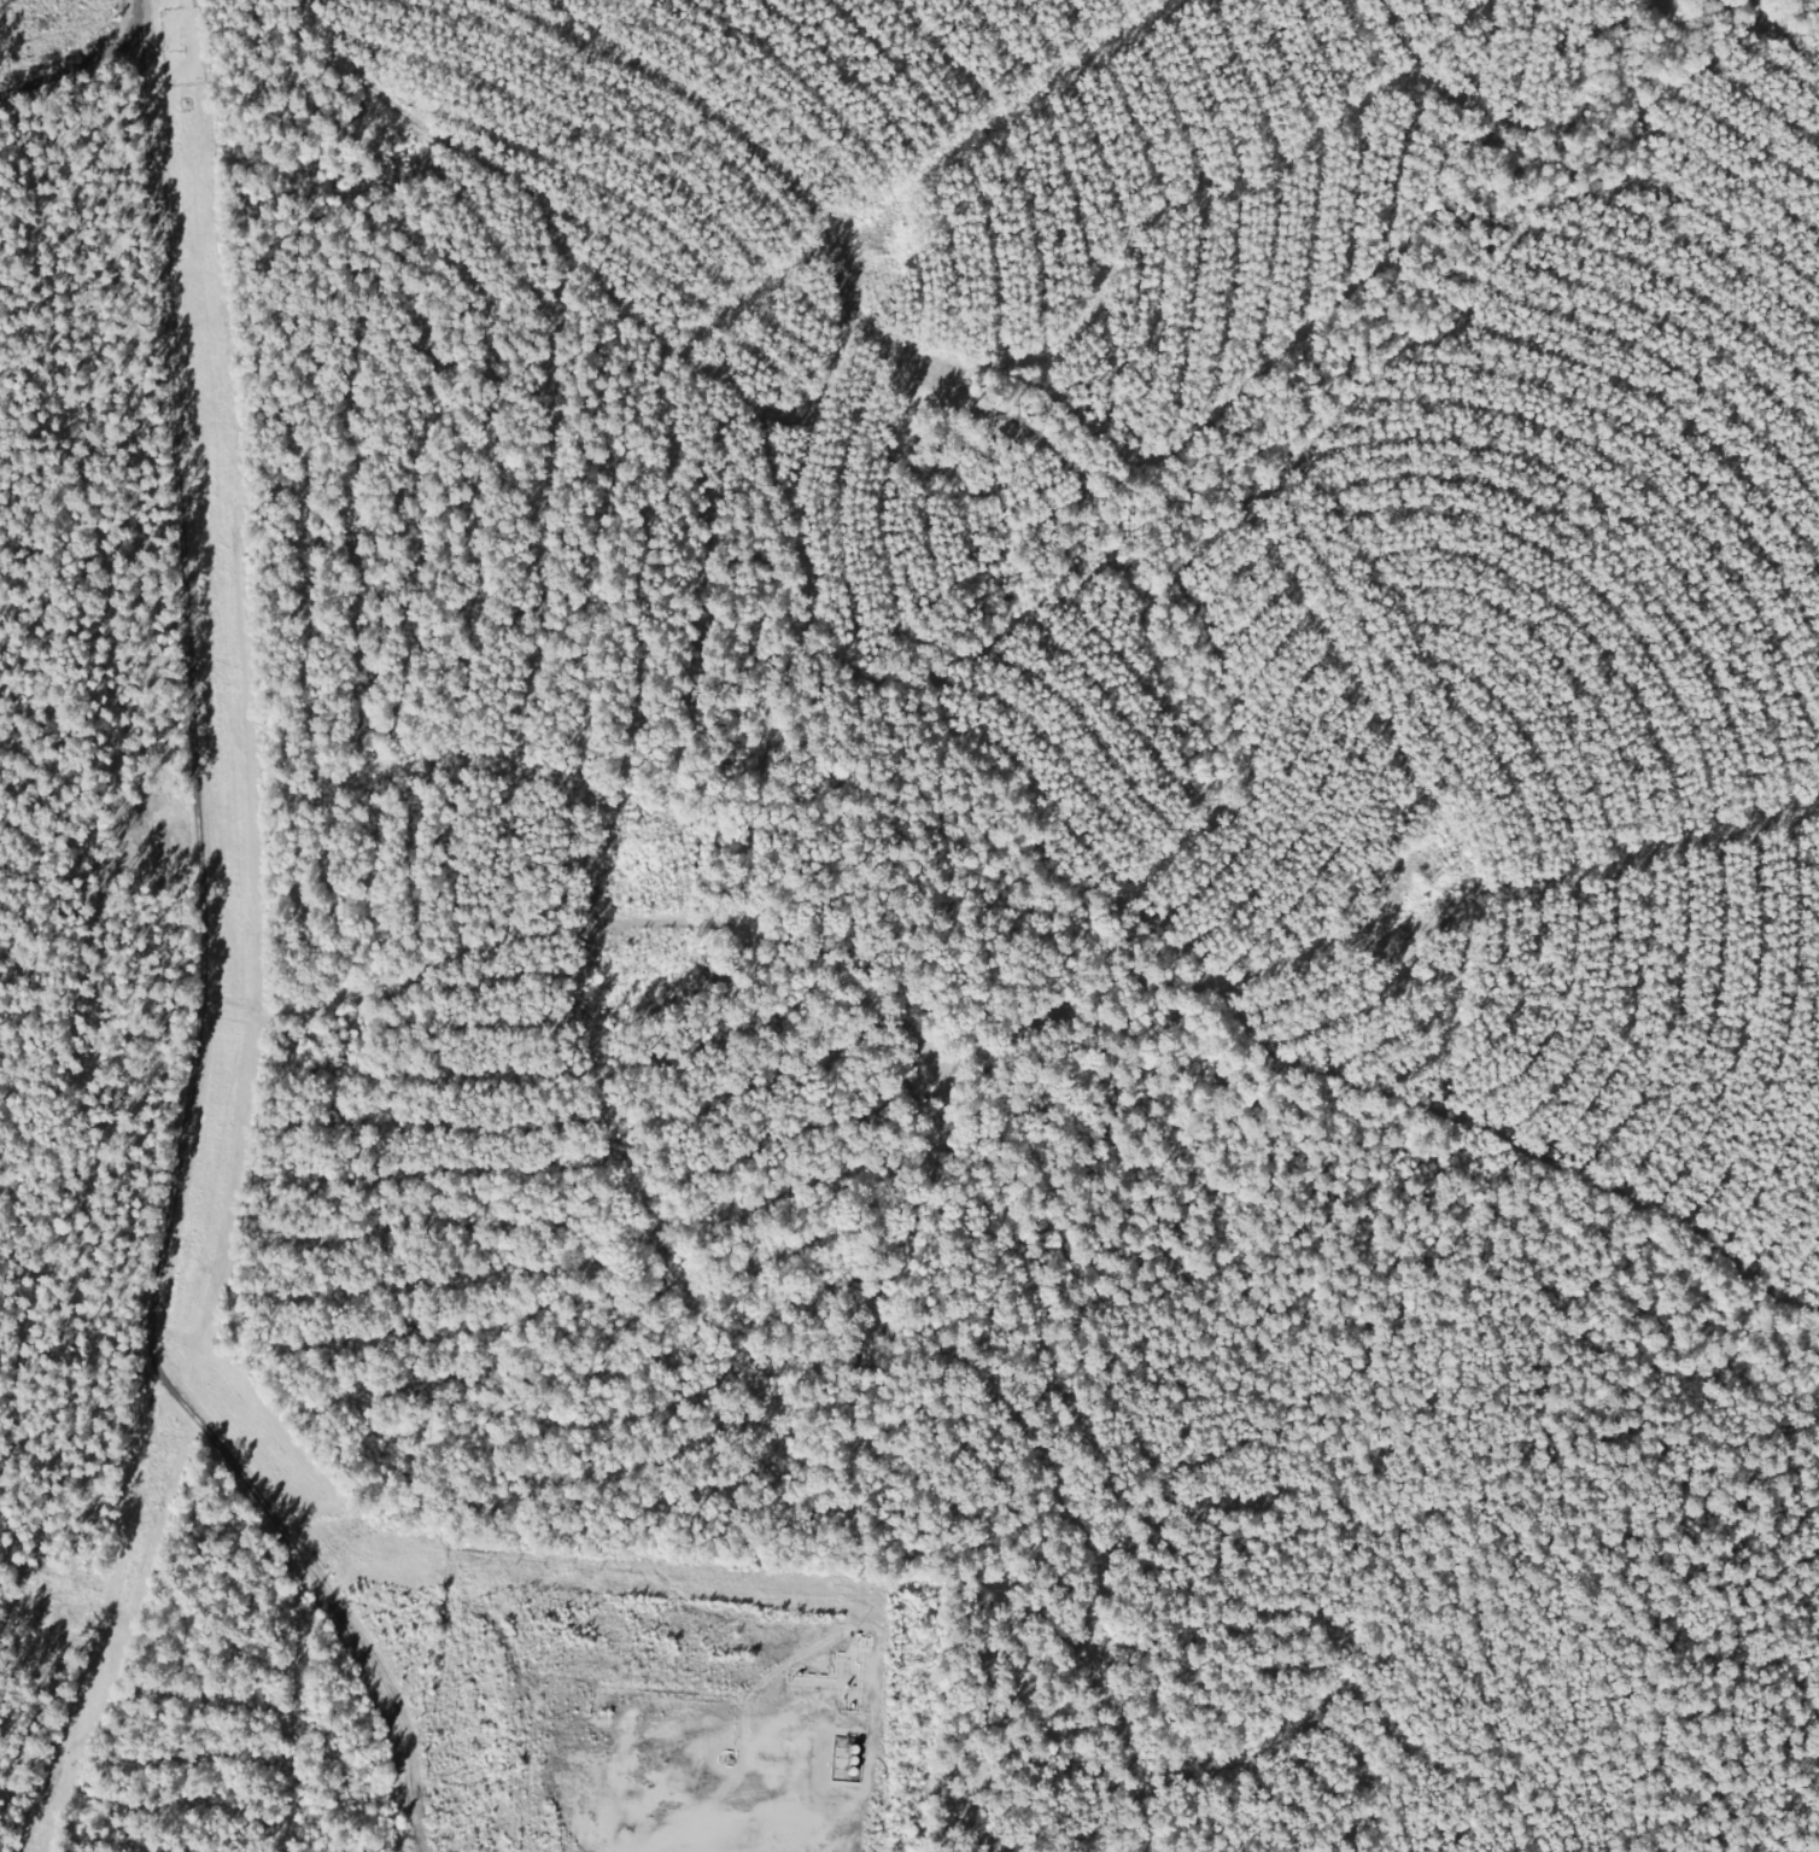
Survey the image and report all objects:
road: (153, 31)
road: (75, 93)
road: (135, 621)
road: (226, 1167)

